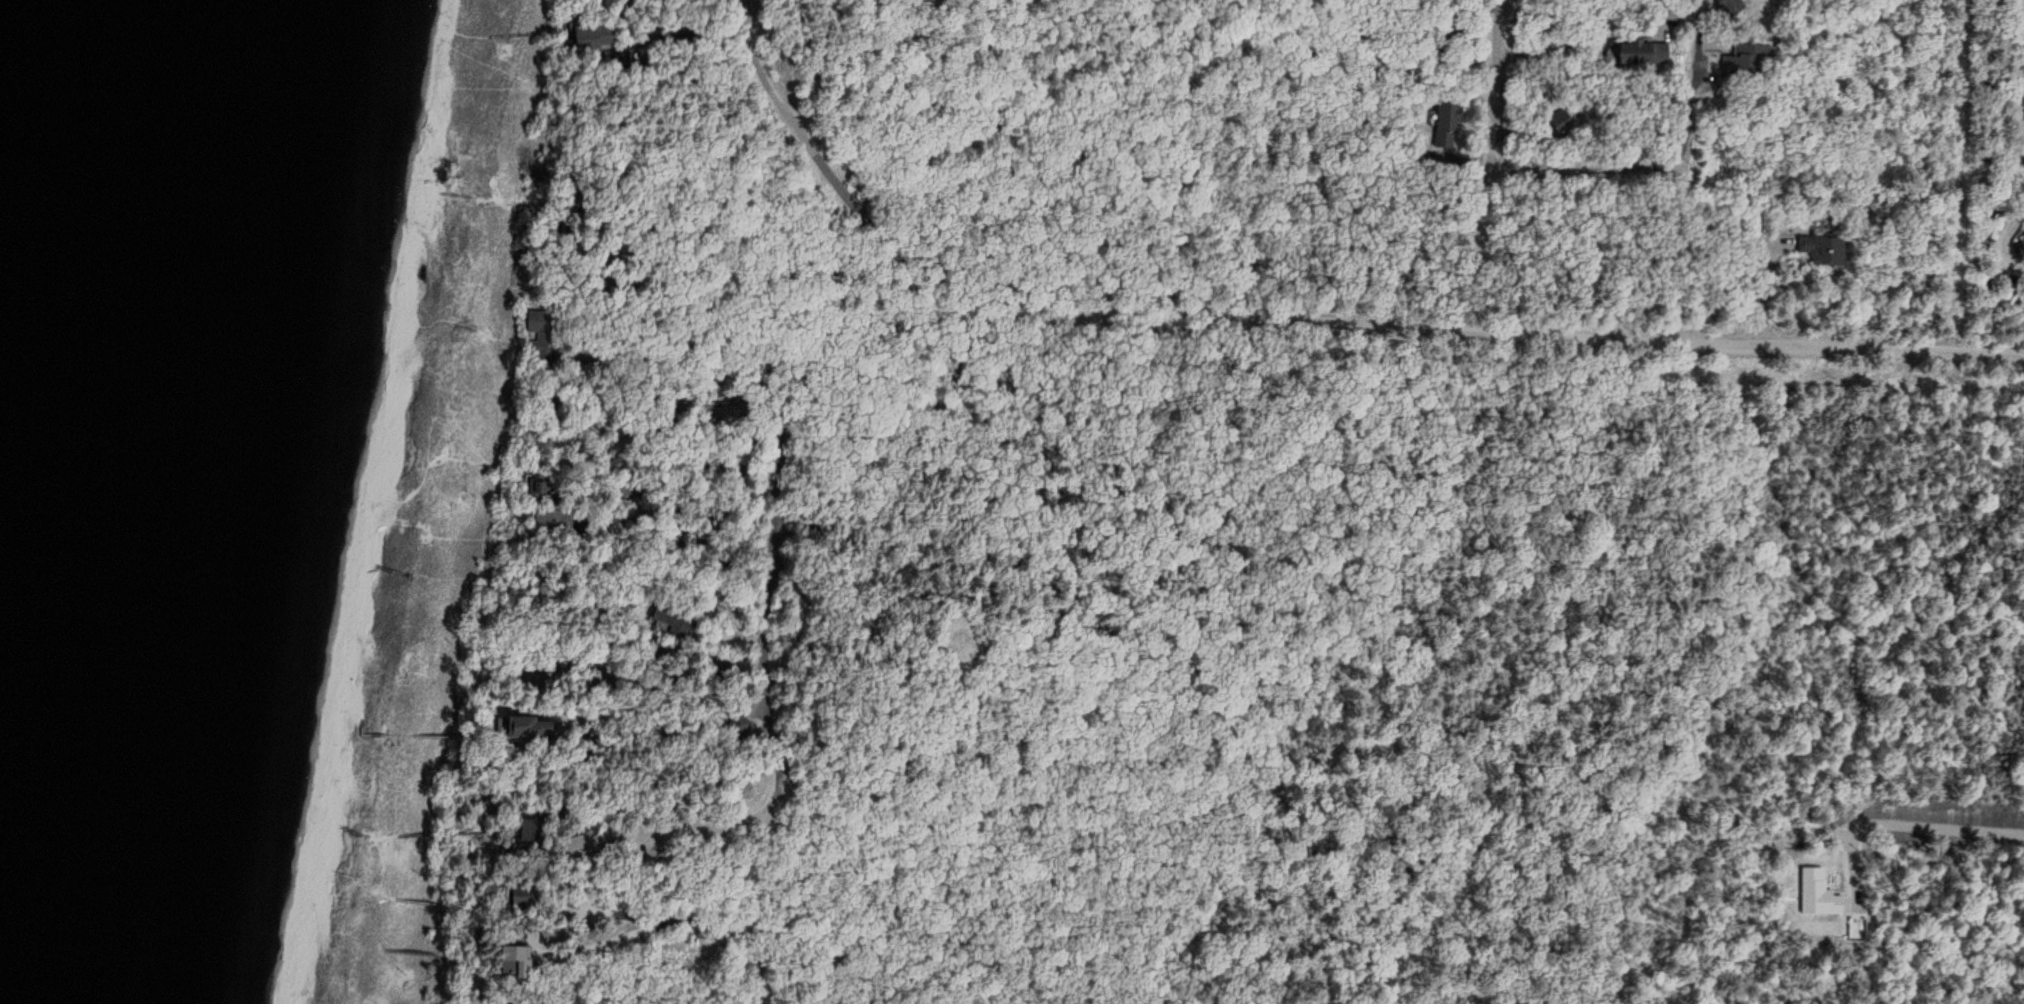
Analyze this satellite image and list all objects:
building: (1726, 7)
building: (1753, 50)
building: (1626, 53)
road: (1642, 132)
road: (1479, 165)
road: (840, 178)
road: (2005, 237)
building: (1820, 252)
road: (1510, 332)
road: (803, 410)
building: (539, 488)
building: (525, 727)
road: (701, 916)
road: (814, 950)

